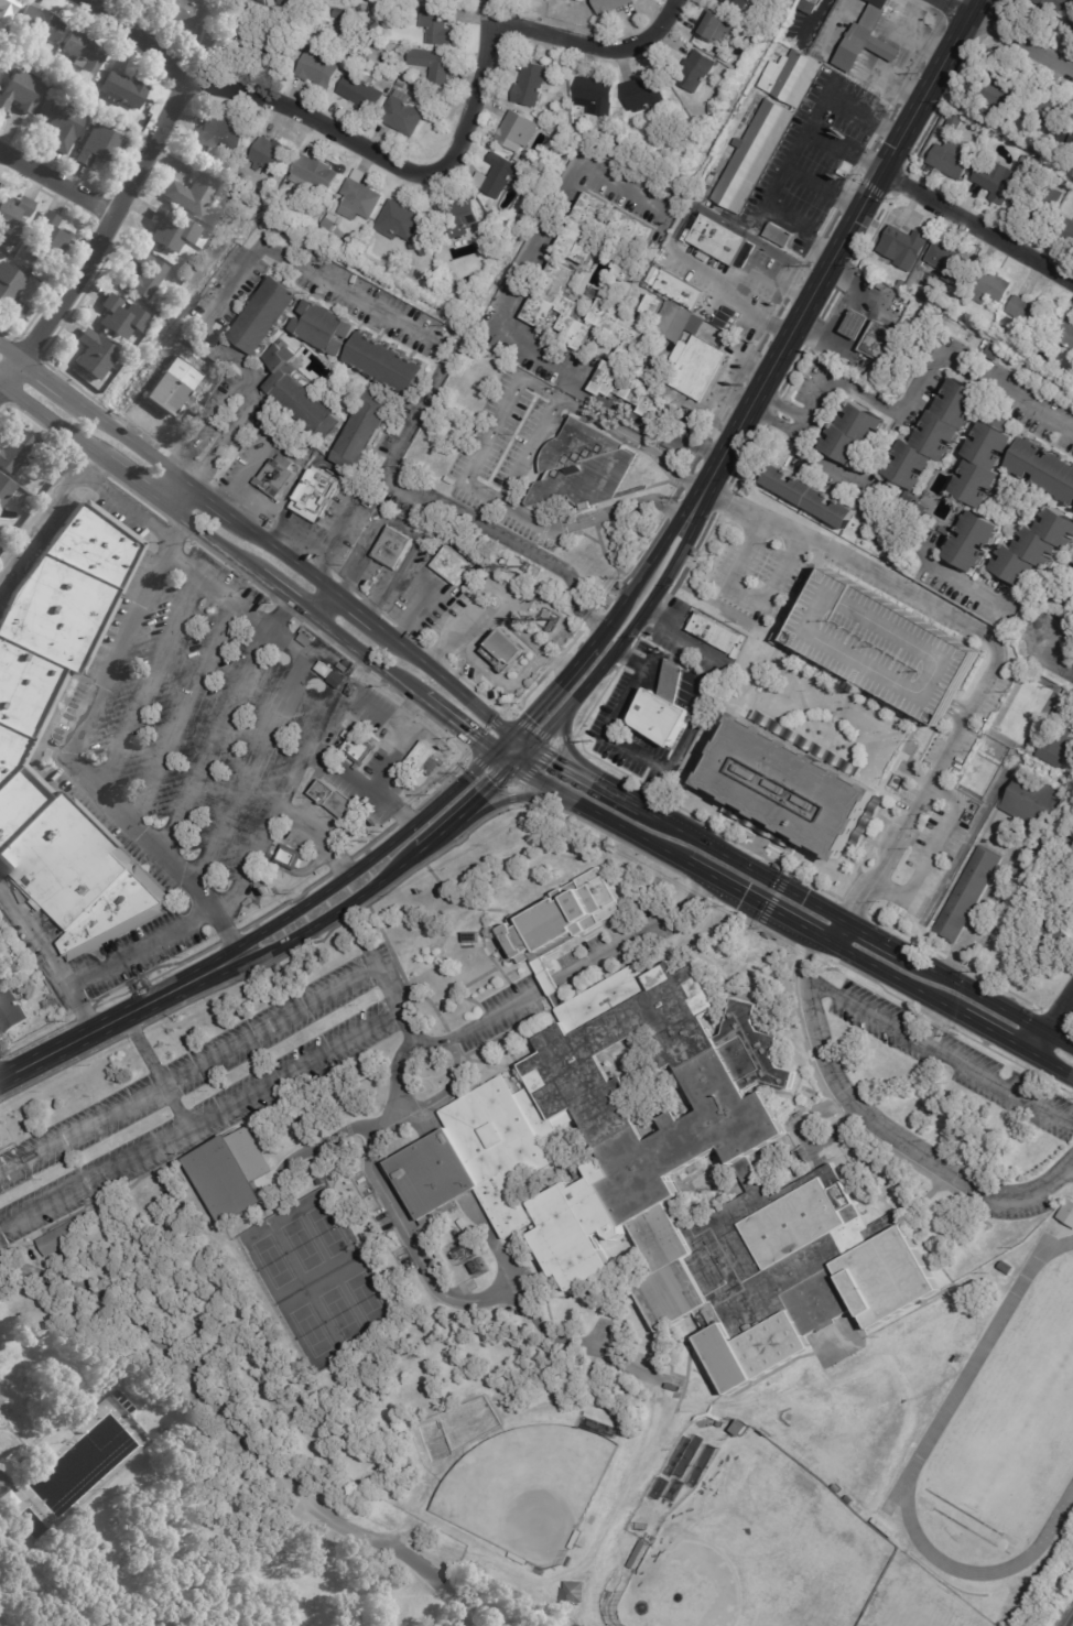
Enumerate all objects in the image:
building: (294, 2)
building: (738, 3)
building: (804, 4)
building: (611, 6)
road: (956, 6)
building: (1058, 6)
building: (364, 9)
building: (7, 10)
building: (184, 11)
building: (343, 13)
road: (817, 14)
building: (302, 22)
building: (1071, 23)
building: (40, 24)
building: (438, 24)
building: (711, 25)
building: (376, 26)
building: (235, 31)
building: (345, 32)
building: (866, 39)
road: (1020, 42)
road: (588, 44)
building: (351, 45)
building: (268, 46)
building: (84, 52)
building: (46, 56)
building: (360, 57)
building: (725, 57)
building: (433, 64)
building: (317, 67)
building: (0, 68)
building: (695, 71)
building: (787, 76)
building: (389, 82)
building: (400, 82)
building: (533, 85)
building: (122, 90)
building: (639, 90)
building: (21, 91)
building: (998, 91)
building: (361, 93)
building: (590, 94)
building: (983, 107)
building: (712, 109)
building: (1049, 111)
building: (402, 115)
building: (955, 122)
building: (62, 124)
building: (998, 126)
building: (564, 127)
road: (334, 131)
building: (512, 131)
building: (1067, 134)
building: (220, 135)
building: (100, 147)
road: (842, 148)
building: (748, 153)
road: (789, 153)
building: (271, 155)
building: (952, 159)
building: (1026, 160)
road: (124, 165)
building: (314, 173)
building: (495, 173)
building: (998, 181)
road: (56, 183)
road: (819, 188)
building: (193, 193)
building: (359, 197)
building: (1033, 199)
road: (99, 210)
building: (458, 217)
building: (12, 218)
building: (401, 220)
building: (329, 223)
road: (109, 224)
building: (509, 228)
road: (975, 228)
building: (1064, 228)
building: (584, 229)
building: (172, 230)
building: (633, 230)
building: (780, 236)
building: (47, 238)
building: (715, 238)
road: (82, 243)
building: (903, 243)
building: (798, 249)
building: (488, 253)
building: (947, 261)
building: (868, 262)
road: (826, 265)
building: (625, 271)
road: (712, 274)
building: (144, 275)
building: (902, 284)
building: (988, 286)
building: (11, 291)
building: (680, 291)
road: (844, 311)
building: (1029, 311)
building: (265, 316)
building: (121, 317)
building: (961, 317)
road: (500, 318)
building: (854, 323)
gas station: (854, 323)
building: (325, 328)
building: (1064, 334)
building: (998, 336)
building: (871, 337)
road: (50, 342)
building: (635, 344)
building: (691, 353)
building: (995, 353)
road: (9, 355)
building: (95, 355)
road: (40, 361)
building: (386, 364)
road: (924, 365)
road: (447, 367)
road: (10, 372)
road: (41, 377)
road: (1, 382)
road: (1, 384)
building: (169, 384)
building: (300, 394)
road: (781, 404)
road: (51, 420)
road: (42, 426)
road: (209, 426)
building: (364, 429)
building: (855, 435)
building: (934, 435)
road: (121, 436)
road: (635, 437)
road: (231, 440)
road: (527, 449)
building: (15, 452)
building: (579, 464)
building: (983, 464)
road: (94, 465)
building: (1044, 469)
road: (303, 473)
road: (246, 474)
building: (275, 477)
road: (131, 480)
building: (6, 490)
road: (172, 491)
building: (314, 495)
road: (137, 496)
building: (811, 498)
road: (206, 499)
road: (499, 502)
road: (124, 507)
road: (44, 508)
building: (25, 509)
road: (403, 527)
building: (1, 528)
road: (180, 529)
building: (944, 531)
road: (301, 535)
road: (330, 540)
road: (212, 541)
building: (972, 541)
building: (392, 548)
road: (911, 548)
building: (1034, 548)
road: (284, 555)
road: (357, 559)
building: (451, 565)
road: (234, 568)
road: (392, 583)
road: (633, 584)
road: (749, 592)
road: (231, 597)
road: (324, 605)
road: (286, 607)
road: (356, 609)
road: (492, 613)
building: (549, 616)
building: (553, 627)
building: (709, 631)
parking lot: (879, 633)
road: (342, 636)
road: (994, 641)
building: (886, 647)
parking lot: (886, 647)
building: (503, 653)
road: (609, 654)
road: (666, 655)
road: (349, 657)
road: (1054, 660)
building: (325, 670)
road: (444, 679)
road: (553, 691)
building: (867, 694)
road: (310, 703)
road: (411, 704)
building: (659, 706)
road: (370, 708)
building: (355, 712)
building: (18, 719)
road: (456, 723)
building: (376, 726)
traffic signals: (511, 736)
road: (453, 738)
building: (1058, 739)
road: (215, 741)
road: (521, 741)
road: (567, 746)
building: (364, 748)
traffic signals: (532, 748)
traffic signals: (491, 754)
road: (393, 756)
road: (73, 758)
building: (424, 758)
road: (556, 761)
traffic signals: (511, 767)
road: (445, 782)
road: (360, 783)
building: (790, 788)
road: (609, 791)
road: (510, 798)
road: (427, 799)
building: (333, 800)
building: (1032, 802)
road: (467, 809)
road: (271, 815)
road: (404, 815)
road: (372, 841)
road: (379, 850)
road: (939, 850)
building: (290, 858)
road: (339, 866)
building: (968, 896)
road: (774, 897)
building: (1072, 901)
road: (284, 902)
road: (336, 912)
road: (781, 914)
building: (562, 918)
road: (854, 929)
road: (835, 931)
building: (1056, 932)
road: (642, 934)
road: (229, 936)
building: (468, 937)
road: (141, 947)
road: (51, 957)
road: (373, 958)
road: (152, 968)
building: (1, 983)
building: (36, 984)
road: (551, 984)
road: (137, 986)
road: (542, 989)
building: (41, 1006)
parking lot: (505, 1012)
building: (10, 1013)
road: (82, 1013)
road: (119, 1017)
road: (1050, 1022)
road: (466, 1032)
road: (35, 1040)
road: (940, 1053)
parking lot: (951, 1060)
road: (153, 1070)
road: (191, 1071)
parking lot: (200, 1092)
road: (442, 1092)
road: (197, 1117)
building: (304, 1124)
road: (884, 1127)
building: (342, 1130)
road: (1069, 1171)
building: (230, 1173)
building: (452, 1181)
building: (153, 1188)
parking lot: (993, 1208)
building: (1066, 1213)
park: (327, 1229)
building: (57, 1237)
building: (1000, 1240)
park: (301, 1244)
road: (412, 1247)
building: (460, 1254)
park: (272, 1261)
building: (1006, 1268)
park: (366, 1299)
park: (339, 1312)
park: (311, 1330)
track: (967, 1372)
building: (622, 1385)
building: (666, 1385)
parking lot: (1, 1401)
road: (3, 1417)
park: (1017, 1417)
building: (719, 1423)
building: (600, 1427)
building: (738, 1427)
road: (240, 1432)
building: (647, 1432)
road: (15, 1434)
building: (8, 1464)
park: (525, 1488)
park: (181, 1490)
building: (7, 1500)
building: (850, 1500)
building: (576, 1539)
park: (756, 1549)
building: (637, 1554)
road: (234, 1555)
building: (519, 1558)
building: (575, 1592)
railway: (1070, 1620)
road: (0, 1625)

